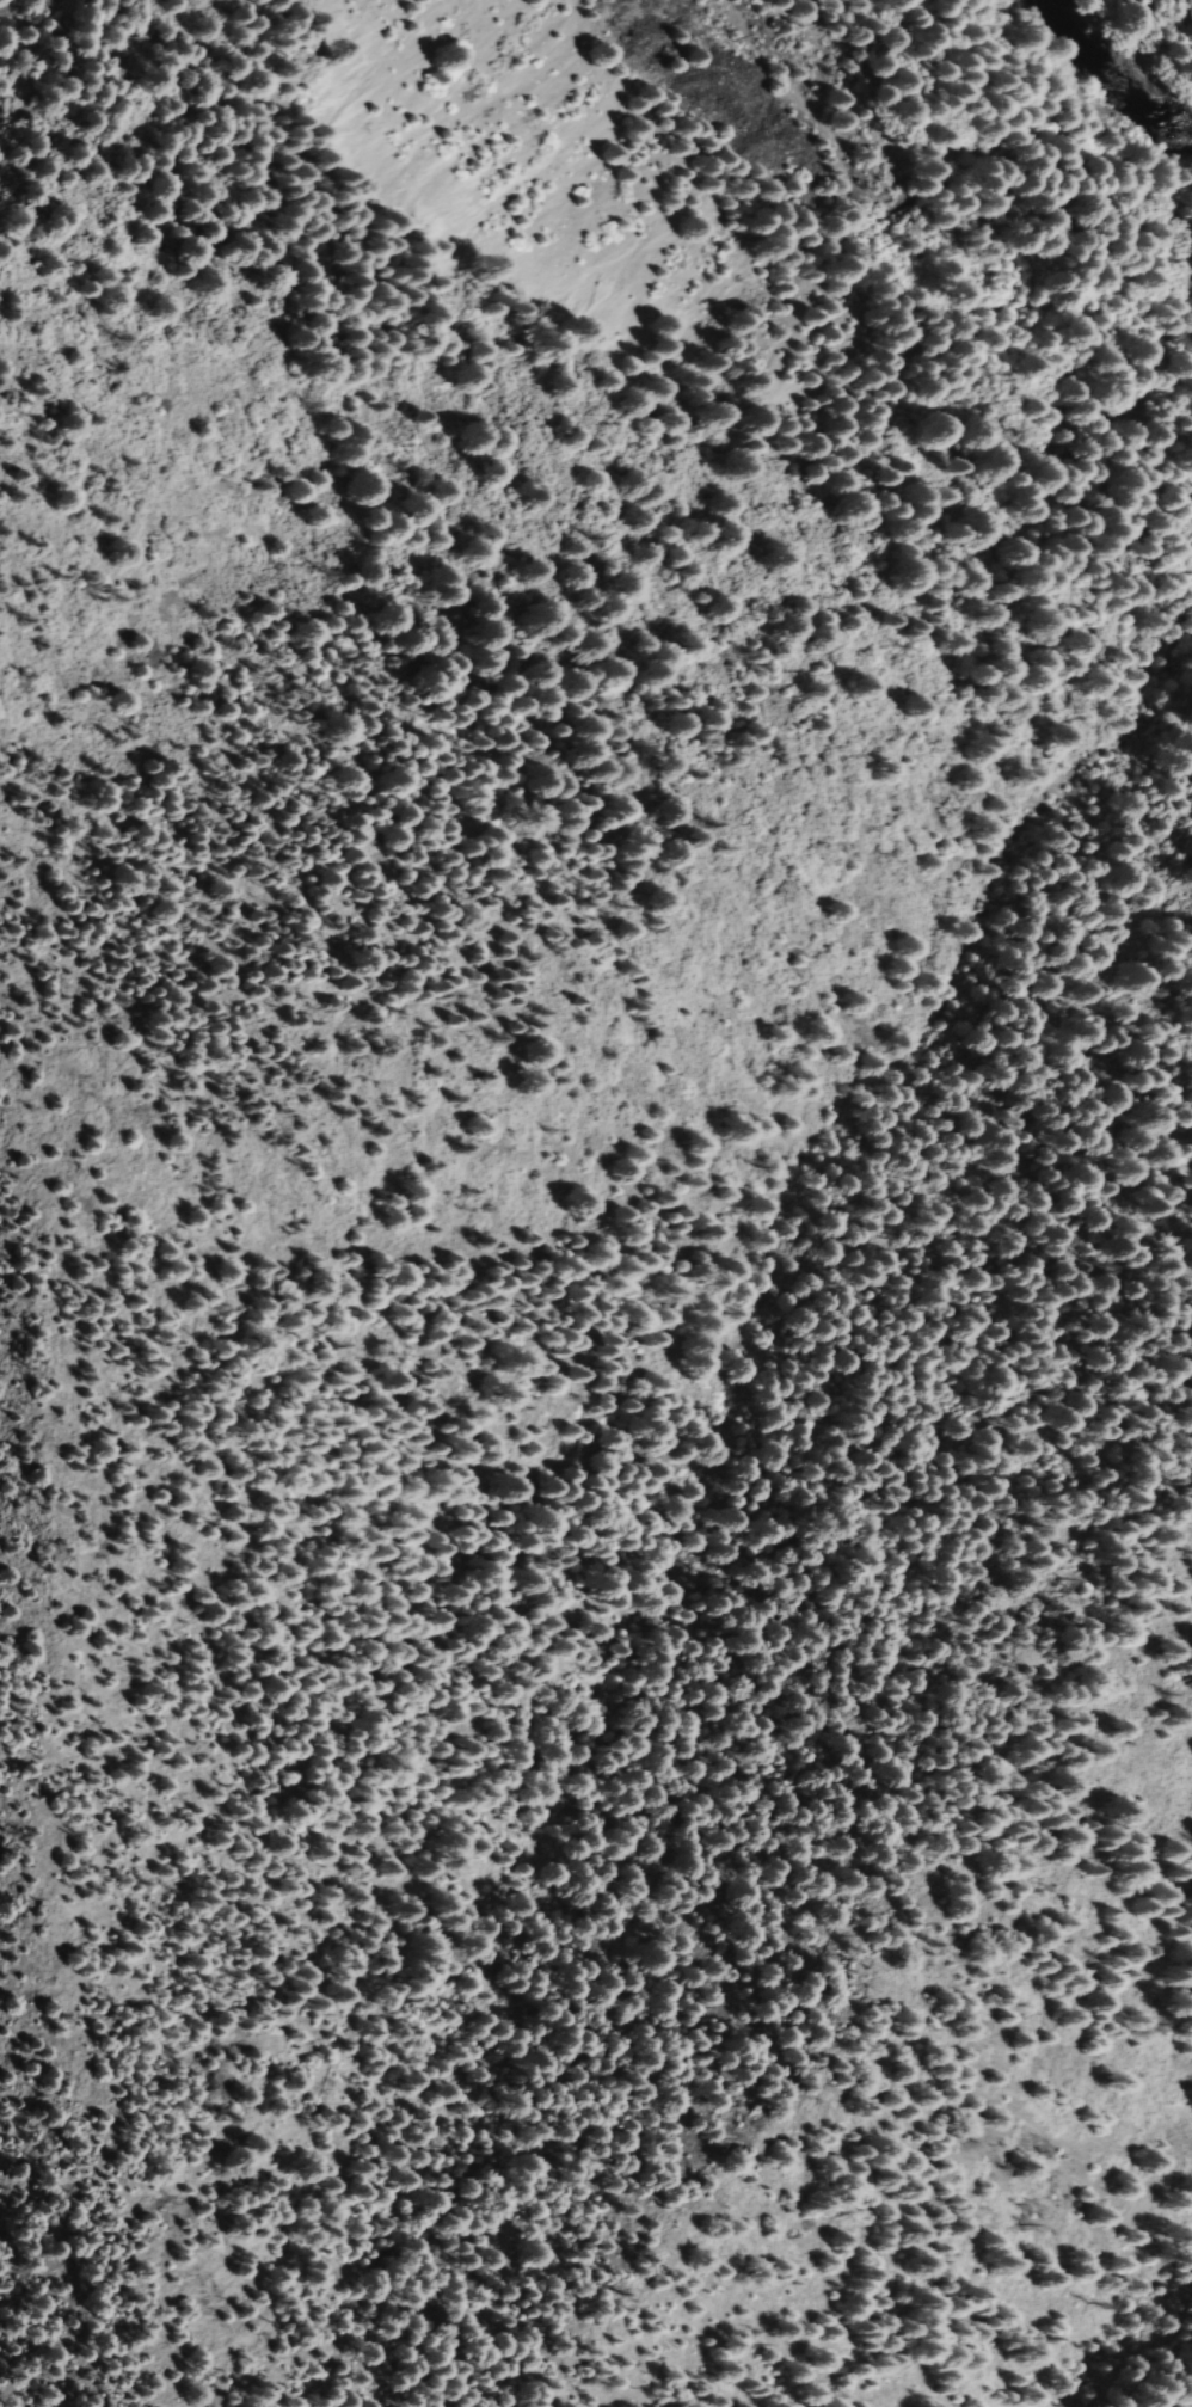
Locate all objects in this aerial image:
river: (1117, 76)

